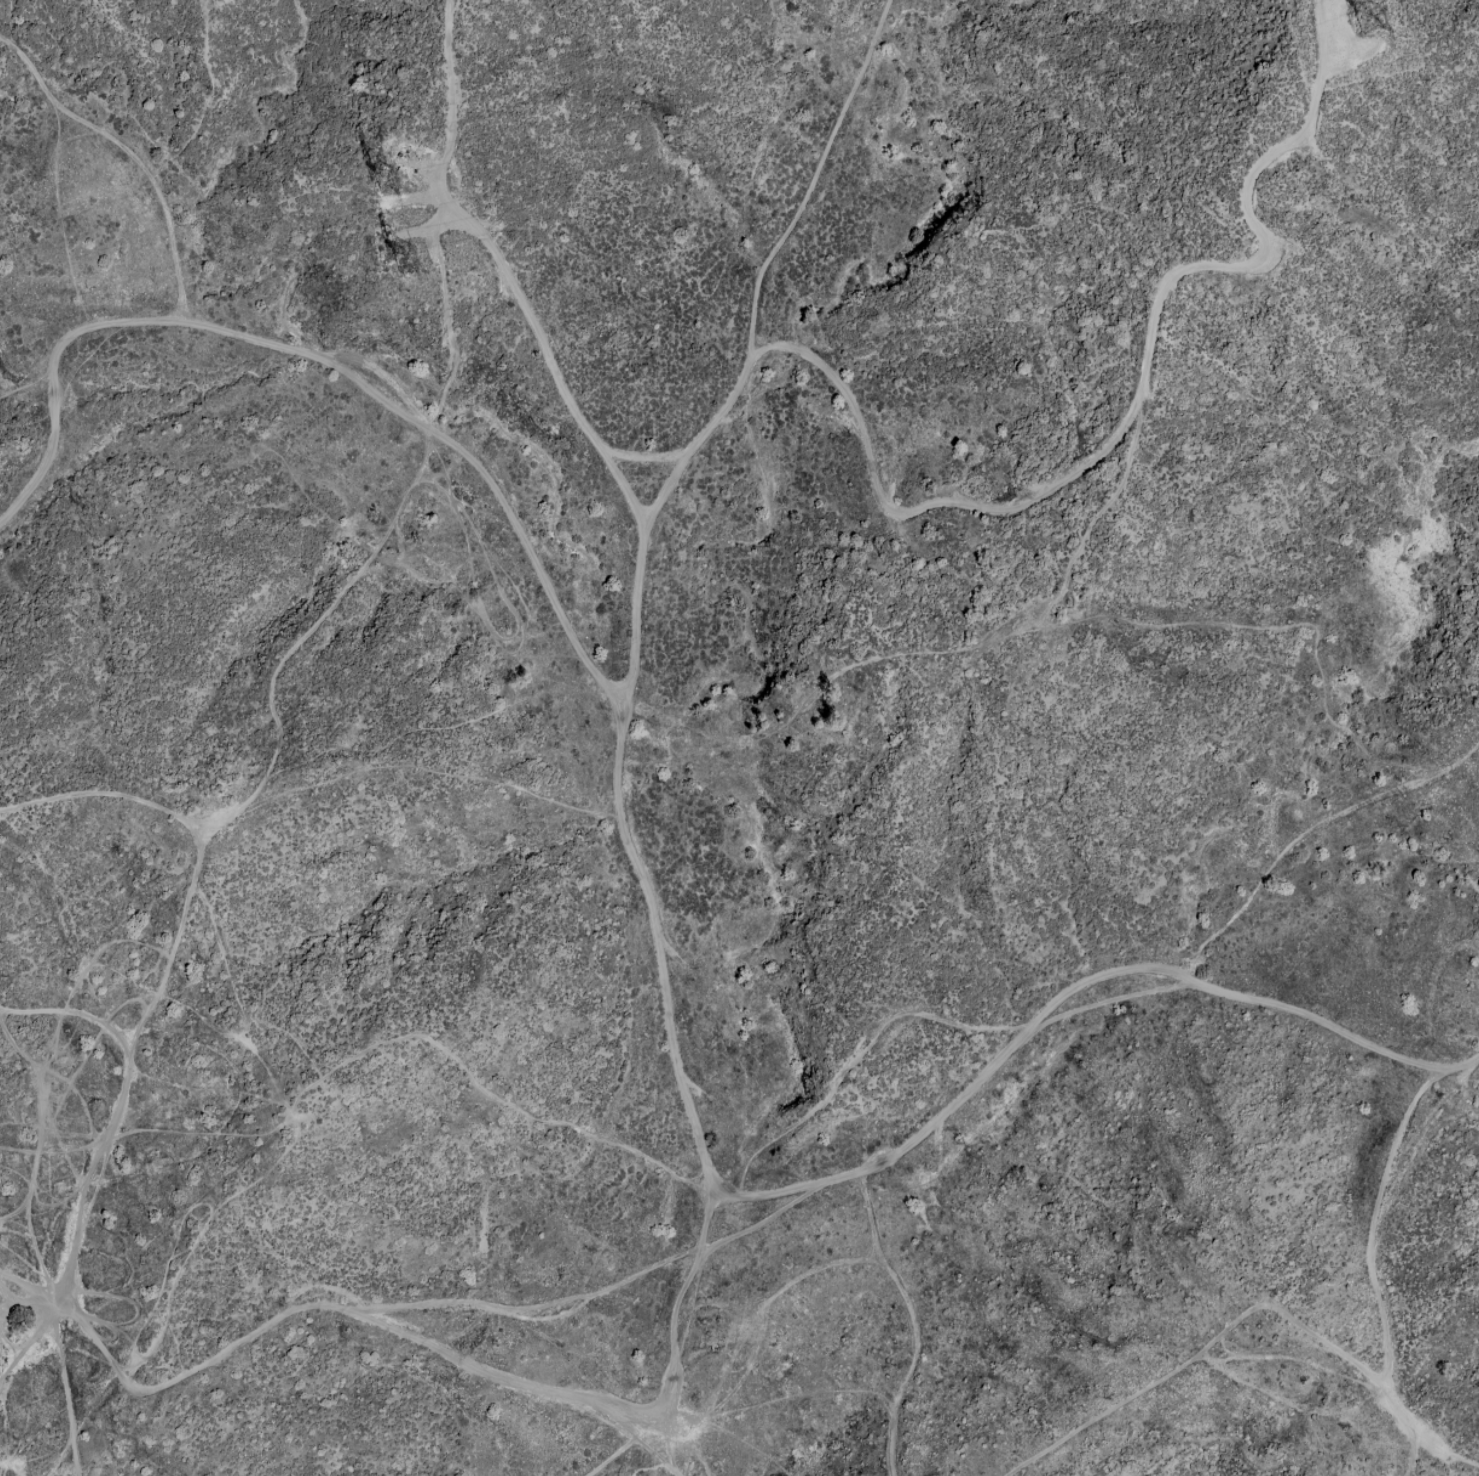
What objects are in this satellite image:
power tower: (1360, 21)
power tower: (392, 177)
power tower: (401, 259)
road: (1281, 879)
road: (692, 1074)
road: (46, 1153)

